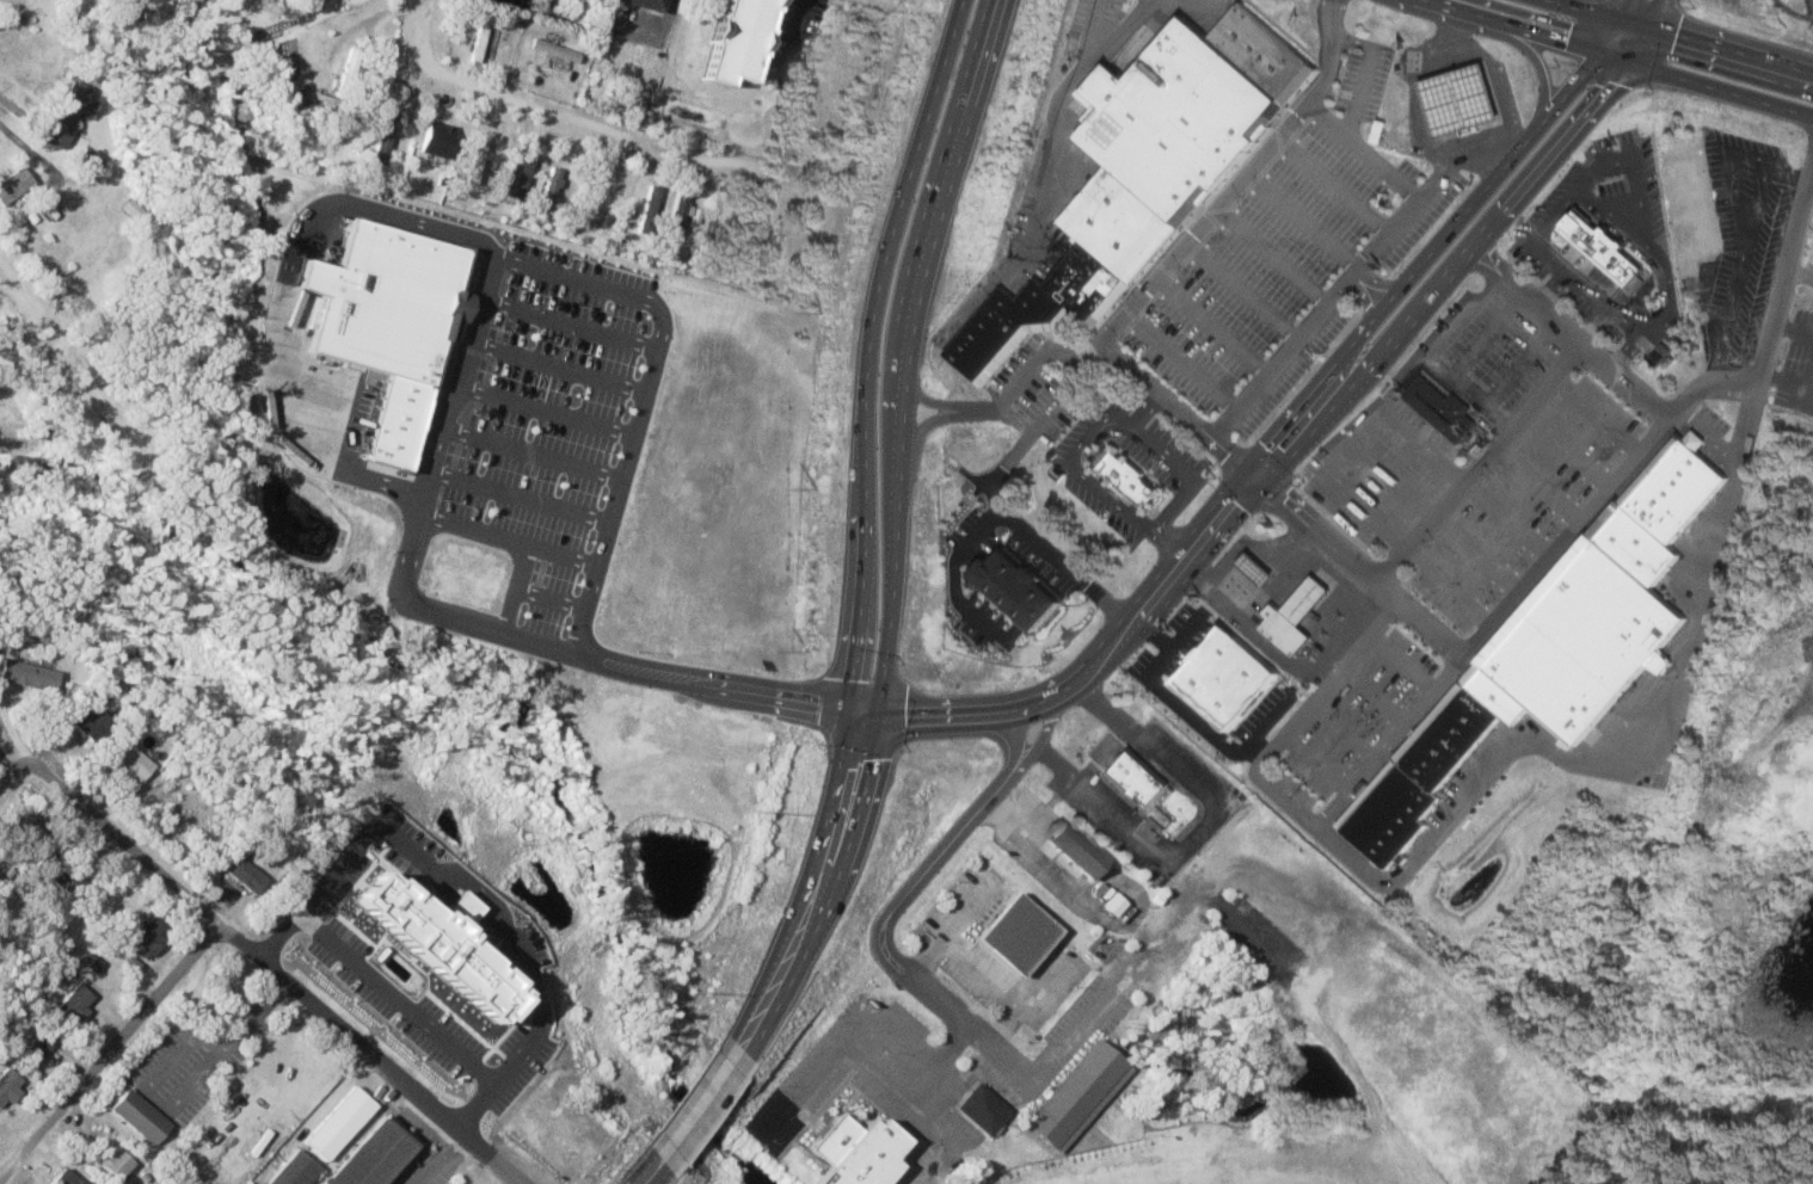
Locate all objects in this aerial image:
building: (644, 4)
road: (1205, 4)
road: (1811, 4)
building: (992, 8)
road: (1628, 10)
road: (1652, 12)
road: (665, 17)
traffic signals: (1623, 19)
traffic signals: (1646, 25)
road: (418, 30)
road: (1117, 30)
road: (1455, 33)
road: (1684, 35)
building: (726, 38)
building: (477, 43)
building: (552, 51)
road: (1530, 51)
traffic signals: (1600, 51)
building: (1260, 53)
road: (1328, 53)
road: (1621, 57)
traffic signals: (1623, 58)
building: (960, 62)
road: (1488, 62)
road: (1365, 68)
building: (346, 70)
building: (848, 87)
building: (1458, 99)
gas station: (1458, 99)
road: (17, 107)
road: (589, 115)
building: (63, 117)
building: (1174, 118)
building: (385, 130)
building: (434, 137)
road: (1365, 149)
road: (1495, 152)
road: (1624, 158)
building: (84, 165)
building: (850, 168)
building: (516, 175)
road: (1811, 179)
road: (1043, 180)
road: (1335, 181)
building: (12, 186)
building: (549, 190)
building: (601, 192)
building: (647, 208)
building: (1686, 209)
building: (129, 212)
building: (677, 214)
road: (1304, 218)
building: (724, 223)
building: (1118, 223)
building: (773, 234)
building: (1599, 249)
road: (1274, 253)
road: (1784, 269)
road: (1799, 269)
road: (580, 279)
building: (1086, 283)
road: (1550, 288)
road: (1244, 289)
road: (279, 294)
building: (388, 298)
building: (1045, 309)
road: (573, 323)
road: (1215, 325)
road: (1792, 328)
road: (1486, 335)
building: (988, 338)
road: (910, 343)
road: (1584, 347)
road: (1427, 356)
road: (1185, 359)
road: (1519, 364)
road: (561, 365)
road: (1077, 372)
road: (1794, 382)
road: (1162, 393)
road: (929, 400)
road: (978, 408)
road: (549, 409)
building: (1439, 411)
road: (1597, 412)
building: (393, 418)
building: (640, 425)
road: (1272, 432)
road: (918, 436)
road: (1568, 446)
road: (533, 451)
road: (1289, 454)
road: (1070, 462)
road: (1479, 462)
traffic signals: (1242, 467)
road: (1187, 475)
building: (1126, 476)
road: (1536, 482)
traffic signals: (1264, 483)
road: (520, 494)
road: (992, 513)
road: (1434, 513)
road: (1507, 516)
road: (867, 523)
road: (1248, 542)
building: (1253, 569)
gas station: (1253, 569)
road: (514, 587)
building: (1015, 587)
road: (551, 597)
building: (812, 606)
road: (1474, 610)
building: (1293, 615)
gas station: (1293, 615)
road: (449, 616)
road: (1185, 631)
road: (1475, 637)
building: (1553, 647)
road: (1401, 658)
building: (26, 676)
building: (1222, 679)
road: (1371, 692)
traffic signals: (849, 696)
traffic signals: (884, 698)
road: (1416, 707)
road: (1194, 715)
traffic signals: (847, 720)
building: (87, 724)
traffic signals: (878, 724)
road: (1345, 724)
road: (1255, 746)
building: (1102, 748)
road: (1315, 759)
building: (129, 763)
building: (1136, 778)
road: (1007, 814)
building: (23, 828)
road: (110, 828)
road: (1428, 838)
building: (1075, 849)
building: (56, 874)
building: (241, 874)
road: (829, 882)
road: (471, 886)
building: (1096, 888)
building: (1157, 899)
building: (279, 913)
road: (946, 930)
building: (1014, 933)
building: (143, 937)
building: (425, 938)
building: (720, 946)
building: (348, 963)
road: (901, 968)
road: (978, 970)
building: (369, 982)
road: (399, 998)
road: (1016, 1004)
building: (70, 1006)
building: (687, 1013)
road: (107, 1049)
building: (33, 1050)
road: (367, 1053)
road: (866, 1063)
building: (7, 1086)
road: (692, 1092)
building: (1076, 1092)
building: (604, 1099)
building: (981, 1108)
road: (703, 1111)
building: (136, 1117)
building: (338, 1121)
building: (853, 1151)
building: (374, 1154)
road: (438, 1159)
road: (637, 1165)
building: (293, 1168)
road: (656, 1174)

